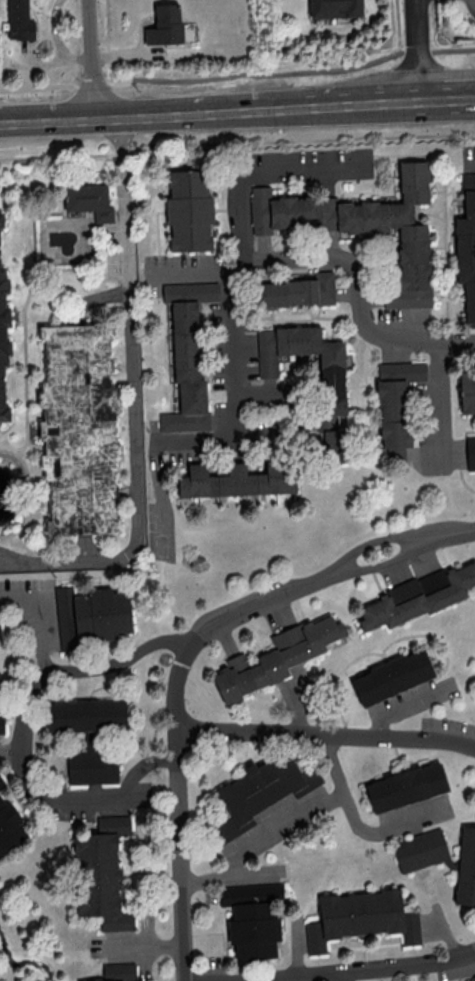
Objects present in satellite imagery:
road: (474, 2)
building: (334, 8)
building: (19, 20)
building: (164, 25)
road: (397, 26)
road: (418, 50)
road: (94, 57)
road: (237, 72)
road: (448, 99)
road: (258, 110)
road: (47, 117)
road: (237, 144)
road: (470, 158)
road: (259, 177)
building: (91, 200)
building: (188, 210)
building: (281, 211)
road: (35, 220)
building: (398, 233)
building: (466, 247)
road: (195, 267)
building: (296, 291)
road: (360, 295)
road: (26, 316)
building: (4, 336)
building: (187, 355)
building: (331, 365)
building: (467, 391)
road: (133, 401)
building: (396, 406)
road: (440, 408)
building: (81, 428)
road: (231, 440)
building: (334, 445)
road: (370, 448)
building: (470, 452)
building: (237, 480)
road: (30, 496)
road: (460, 532)
road: (374, 540)
road: (383, 564)
building: (419, 595)
road: (255, 606)
building: (91, 614)
road: (38, 618)
building: (276, 657)
building: (391, 676)
road: (401, 708)
building: (86, 715)
building: (1, 723)
road: (326, 734)
road: (22, 740)
road: (474, 745)
road: (11, 753)
building: (92, 767)
building: (1, 782)
building: (405, 786)
building: (265, 787)
road: (179, 808)
road: (308, 813)
building: (9, 826)
road: (384, 829)
building: (419, 850)
building: (466, 866)
building: (100, 873)
road: (226, 877)
building: (361, 918)
building: (252, 919)
road: (368, 971)
building: (117, 972)
road: (338, 977)

